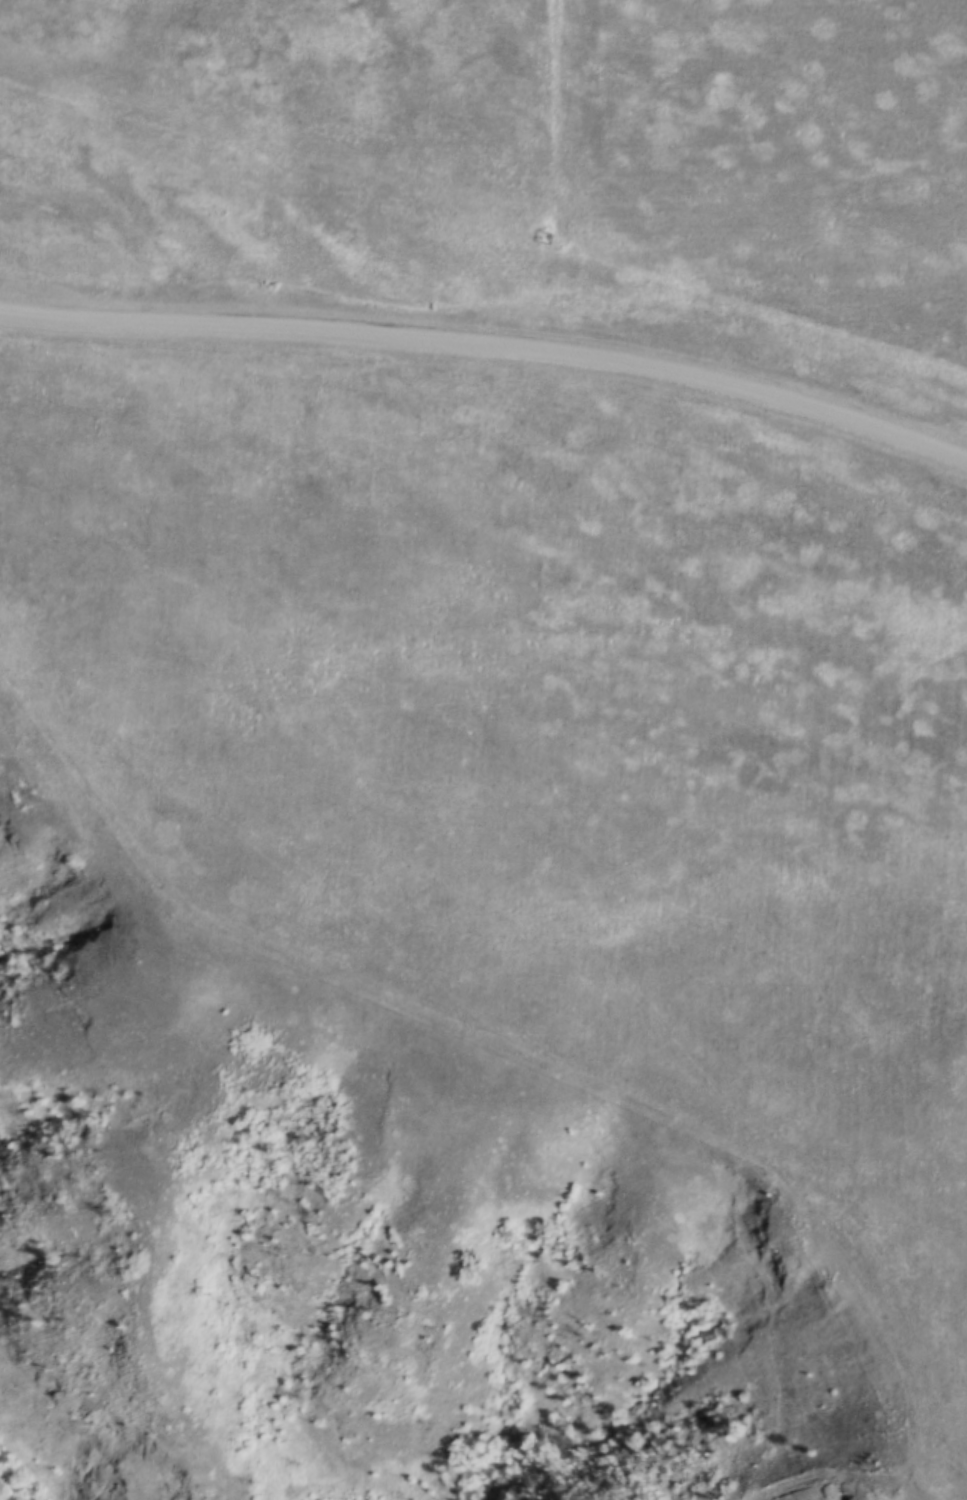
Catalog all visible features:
road: (490, 344)

